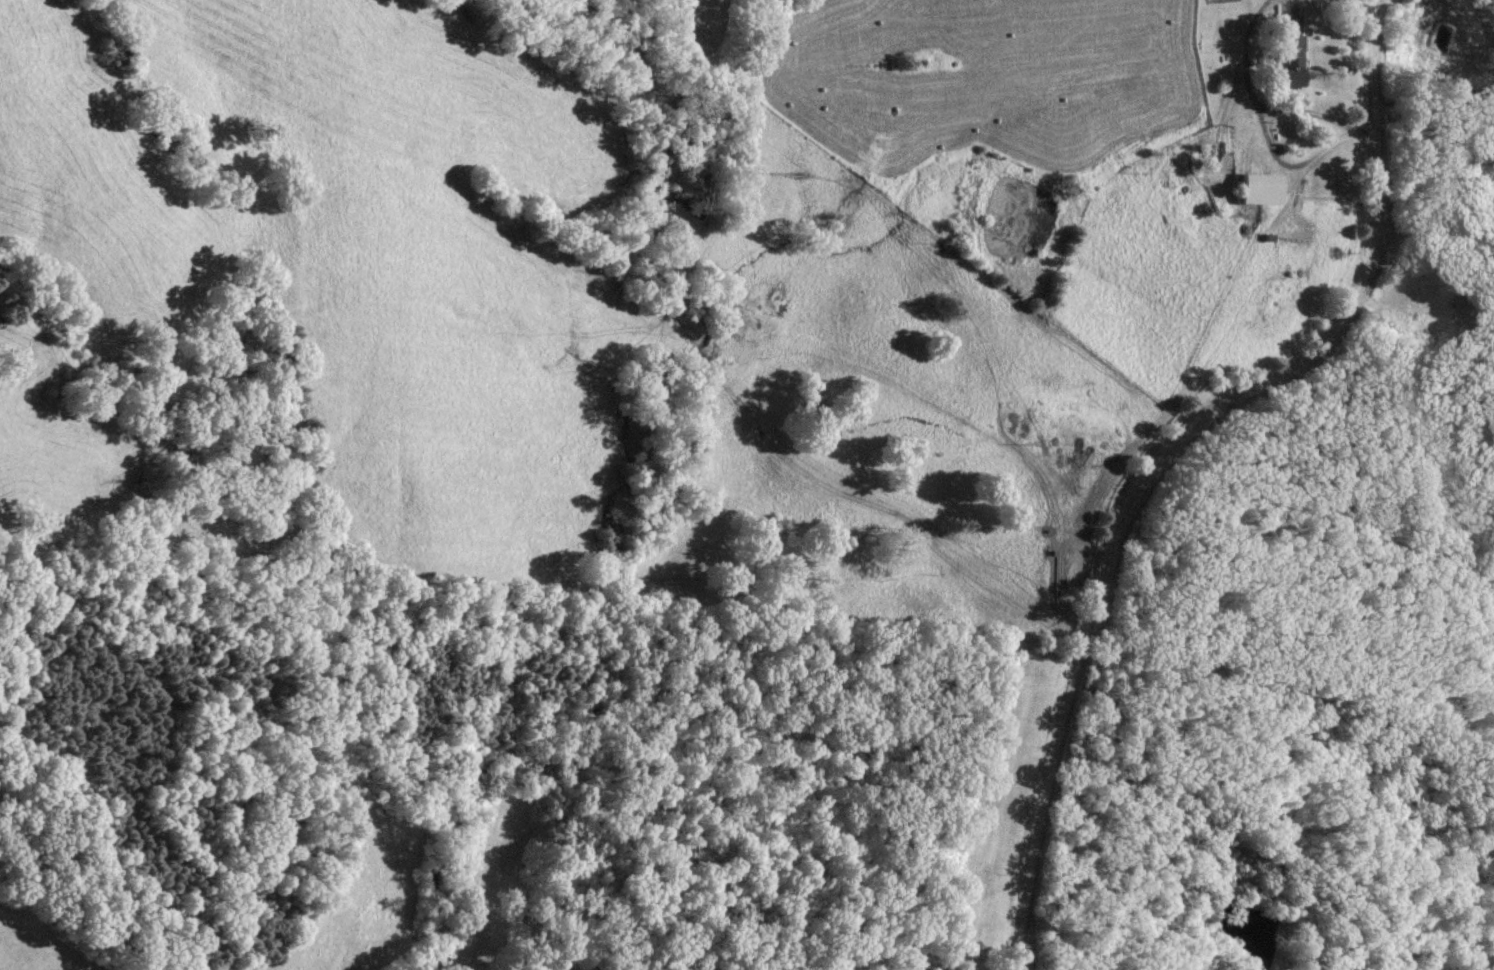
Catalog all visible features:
building: (1291, 53)
road: (1303, 110)
road: (1260, 130)
building: (1262, 188)
road: (1165, 446)

